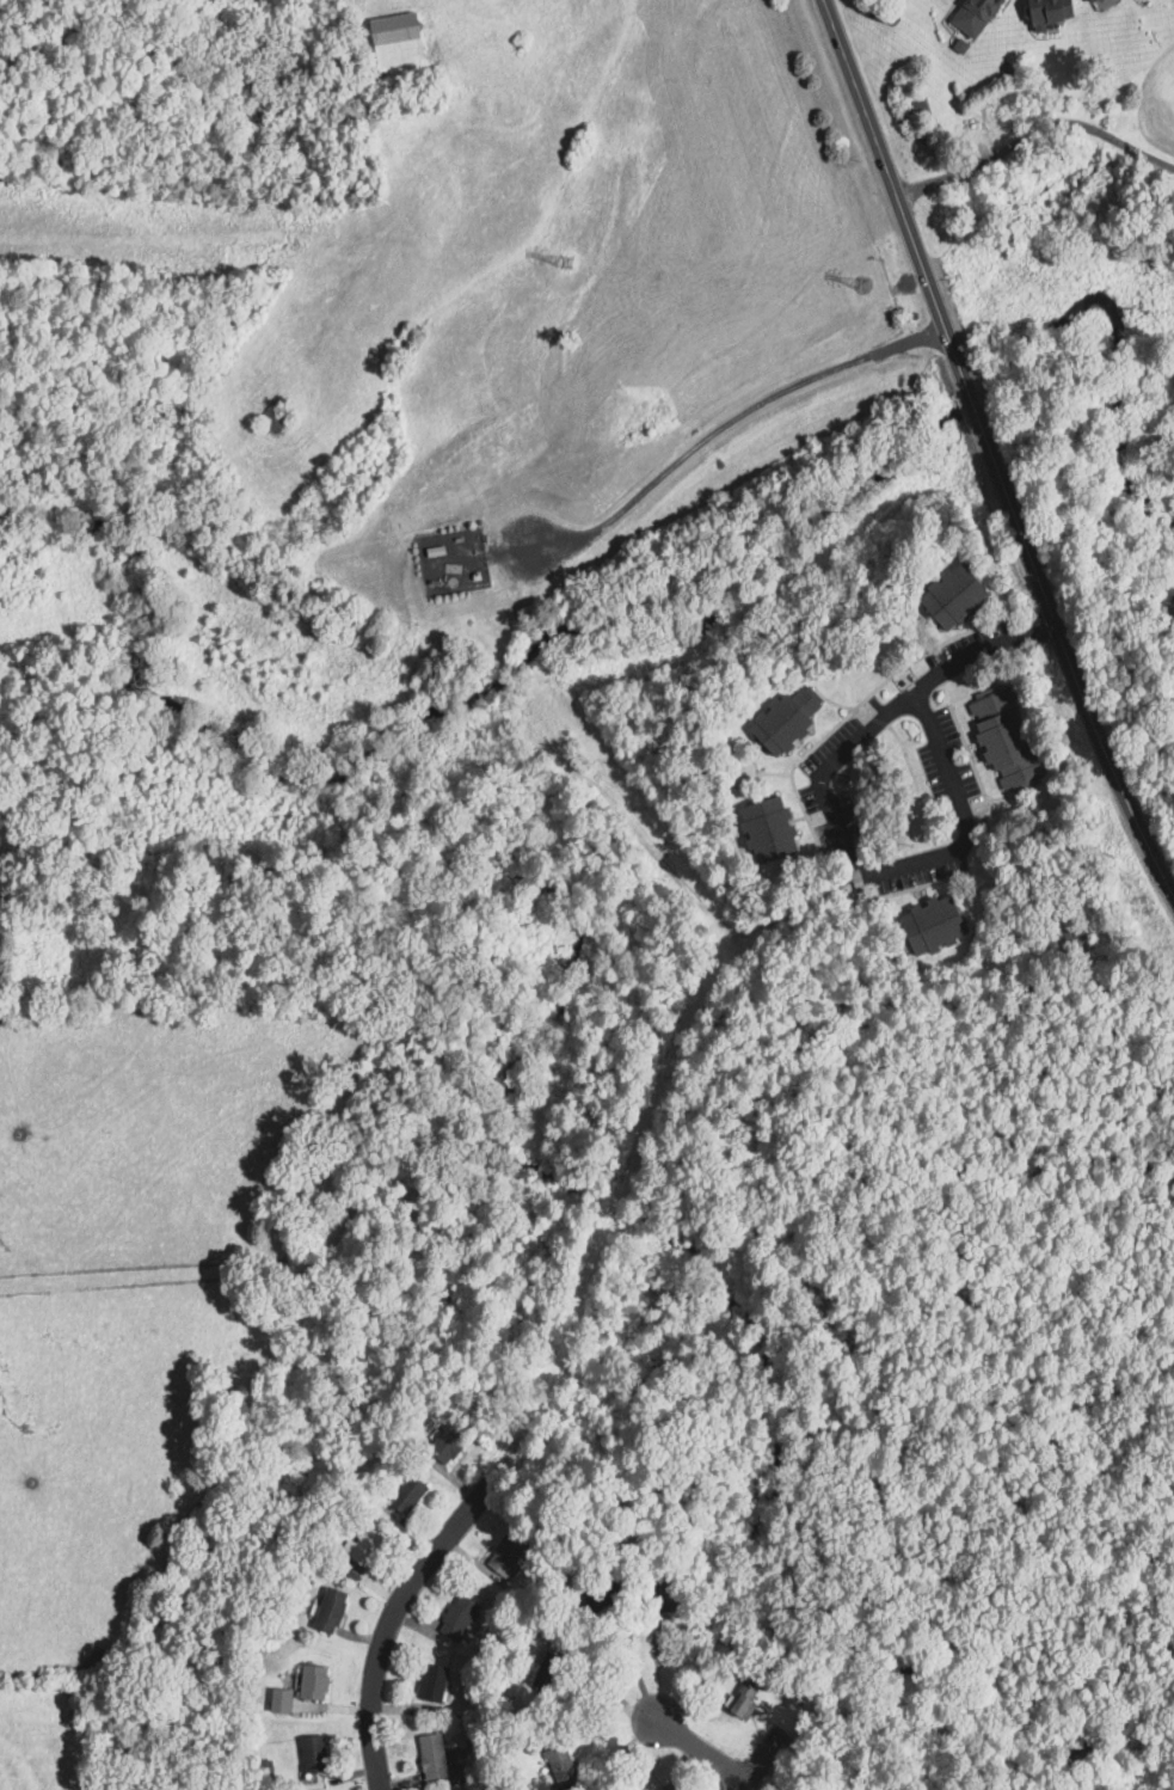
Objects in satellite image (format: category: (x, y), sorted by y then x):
building: (1084, 1)
building: (1094, 1)
building: (1044, 13)
building: (978, 17)
park: (1154, 87)
road: (1035, 147)
road: (898, 203)
power tower: (566, 262)
power tower: (871, 289)
park: (1155, 372)
road: (713, 431)
building: (947, 596)
road: (1067, 652)
building: (781, 718)
building: (1002, 742)
road: (832, 816)
building: (768, 827)
building: (932, 924)
building: (443, 1447)
building: (404, 1494)
building: (362, 1550)
building: (327, 1611)
building: (455, 1617)
road: (388, 1624)
road: (629, 1649)
building: (309, 1682)
building: (428, 1682)
building: (277, 1700)
building: (736, 1704)
road: (701, 1749)
building: (429, 1755)
building: (309, 1758)
road: (760, 1763)
road: (773, 1778)
building: (660, 1789)

